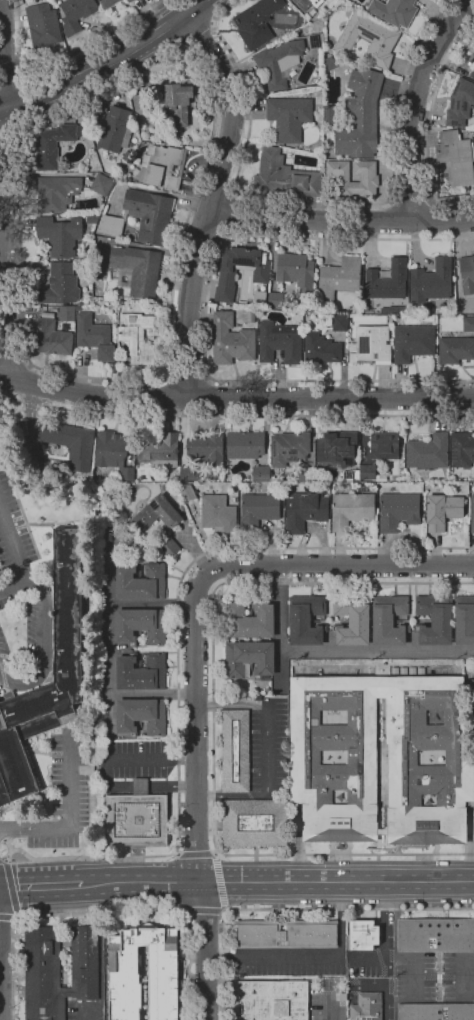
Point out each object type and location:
building: (127, 0)
building: (129, 1)
building: (108, 2)
building: (306, 3)
building: (394, 11)
building: (76, 13)
building: (256, 22)
building: (42, 25)
road: (18, 33)
road: (196, 35)
building: (368, 38)
building: (316, 40)
road: (94, 41)
building: (473, 46)
road: (108, 61)
building: (279, 62)
building: (330, 63)
road: (11, 69)
building: (472, 72)
road: (27, 94)
building: (141, 102)
building: (178, 102)
building: (460, 103)
road: (416, 104)
road: (3, 110)
building: (329, 115)
building: (360, 115)
building: (289, 117)
building: (133, 118)
building: (116, 128)
road: (428, 128)
road: (9, 131)
building: (53, 144)
building: (472, 151)
building: (126, 155)
building: (456, 156)
building: (162, 166)
building: (284, 175)
building: (369, 178)
building: (101, 184)
building: (445, 187)
road: (6, 189)
road: (215, 189)
building: (55, 192)
road: (409, 198)
road: (214, 199)
road: (312, 201)
road: (228, 212)
building: (140, 217)
building: (92, 218)
road: (393, 219)
road: (342, 220)
road: (439, 221)
road: (203, 230)
building: (60, 234)
building: (135, 270)
building: (296, 271)
building: (467, 273)
building: (228, 277)
building: (338, 277)
building: (388, 280)
building: (431, 281)
building: (60, 284)
building: (275, 299)
building: (355, 309)
building: (395, 309)
building: (376, 311)
road: (205, 312)
building: (67, 313)
building: (400, 317)
building: (390, 318)
building: (339, 323)
building: (468, 324)
building: (95, 336)
building: (138, 336)
building: (52, 337)
building: (114, 337)
building: (231, 340)
building: (279, 342)
building: (412, 342)
building: (369, 344)
building: (320, 349)
building: (455, 349)
road: (15, 360)
road: (64, 371)
road: (185, 375)
road: (26, 382)
road: (90, 395)
road: (166, 396)
road: (203, 396)
road: (10, 398)
road: (328, 398)
road: (33, 402)
road: (259, 414)
road: (32, 427)
building: (70, 442)
building: (244, 445)
building: (384, 445)
building: (110, 448)
building: (289, 448)
building: (206, 449)
building: (337, 449)
building: (462, 449)
building: (159, 450)
building: (429, 452)
building: (367, 471)
building: (260, 472)
building: (126, 473)
building: (189, 473)
building: (305, 474)
building: (351, 475)
building: (127, 487)
building: (362, 488)
building: (185, 491)
building: (181, 508)
building: (258, 508)
building: (351, 509)
building: (304, 510)
building: (398, 511)
building: (442, 511)
building: (218, 513)
building: (472, 513)
building: (140, 528)
building: (114, 533)
building: (104, 539)
building: (117, 540)
road: (13, 547)
road: (337, 565)
parking lot: (20, 580)
building: (140, 582)
road: (13, 586)
building: (67, 605)
road: (280, 608)
building: (352, 619)
building: (435, 619)
building: (464, 619)
building: (249, 620)
building: (306, 620)
building: (388, 620)
building: (140, 625)
road: (44, 645)
road: (108, 645)
road: (360, 650)
road: (177, 653)
building: (249, 659)
building: (141, 671)
road: (152, 694)
building: (472, 694)
parking garage: (472, 694)
building: (141, 716)
road: (213, 718)
road: (195, 728)
road: (267, 749)
building: (235, 751)
building: (381, 758)
road: (70, 817)
building: (136, 817)
building: (254, 822)
road: (1, 835)
road: (8, 853)
road: (3, 856)
road: (337, 881)
road: (218, 882)
road: (141, 883)
road: (40, 885)
road: (10, 887)
road: (103, 911)
road: (295, 911)
road: (10, 917)
building: (287, 934)
building: (363, 934)
building: (435, 934)
road: (206, 951)
road: (333, 956)
building: (58, 970)
building: (164, 973)
building: (273, 1000)
building: (366, 1006)
building: (435, 1011)
road: (81, 1014)

